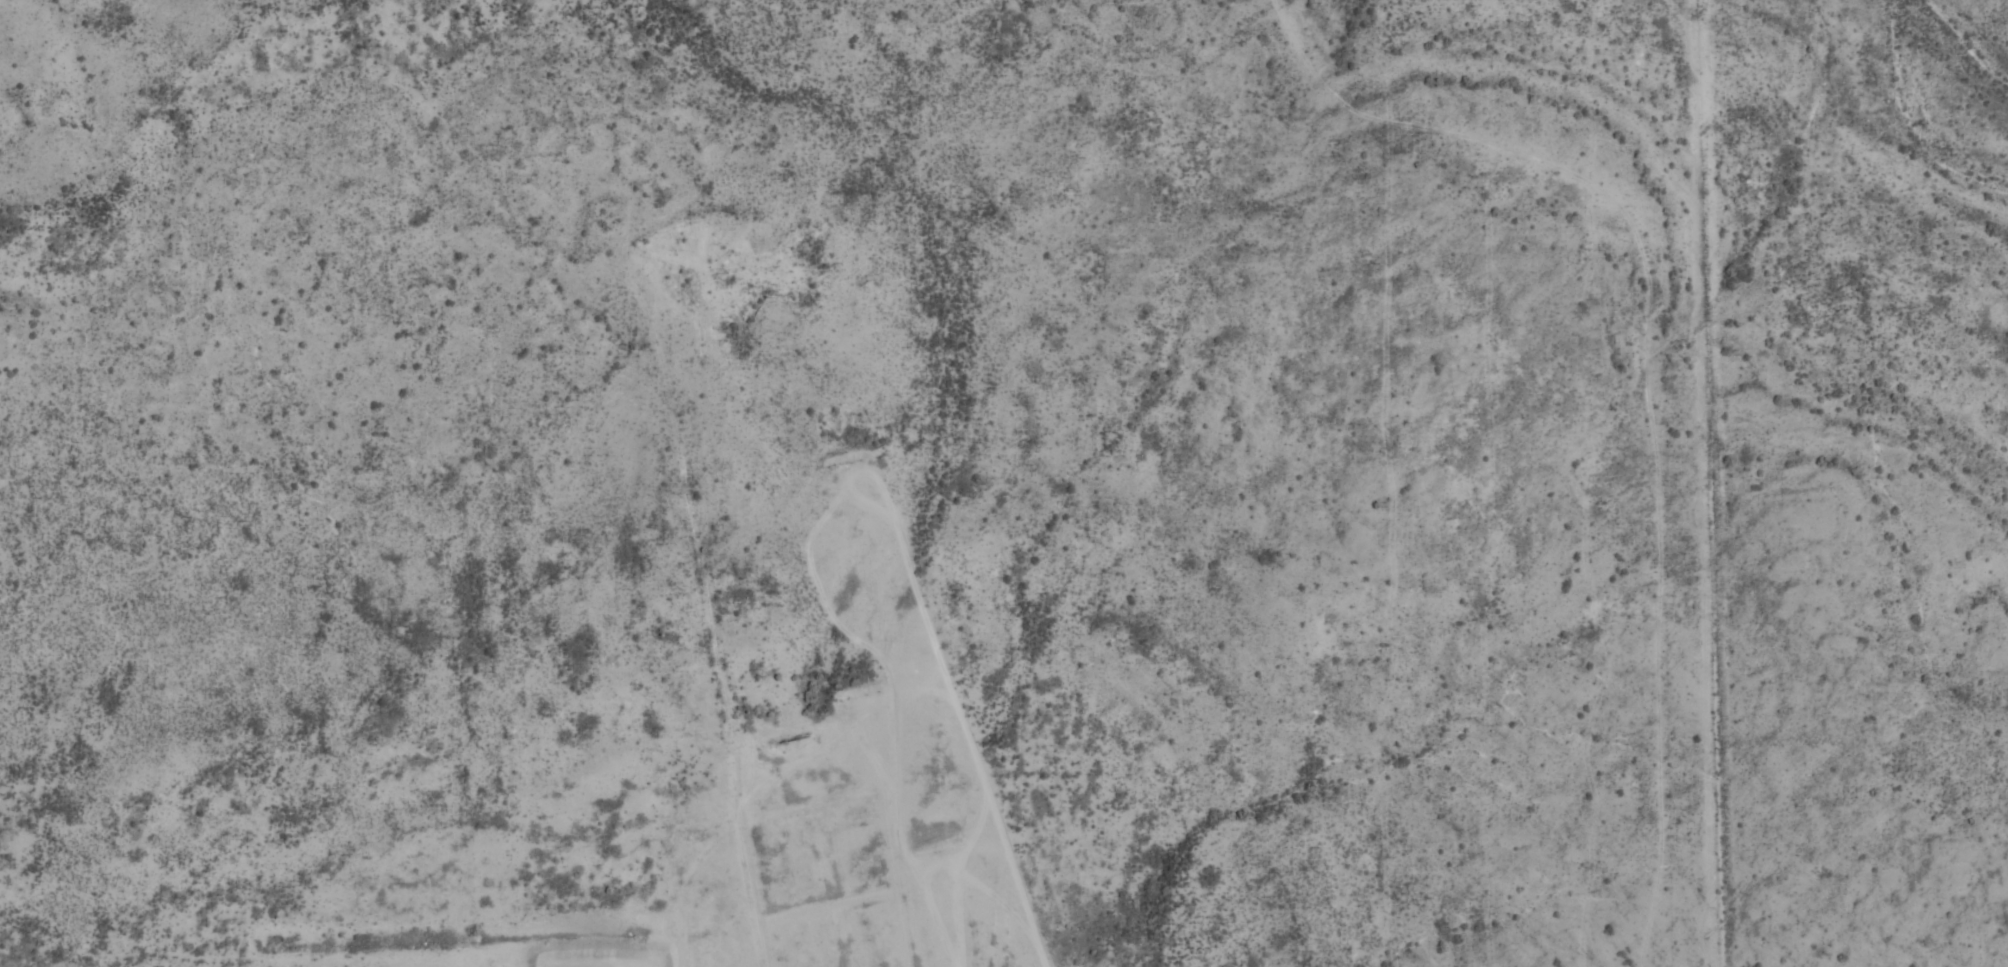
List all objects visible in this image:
park: (1851, 477)

